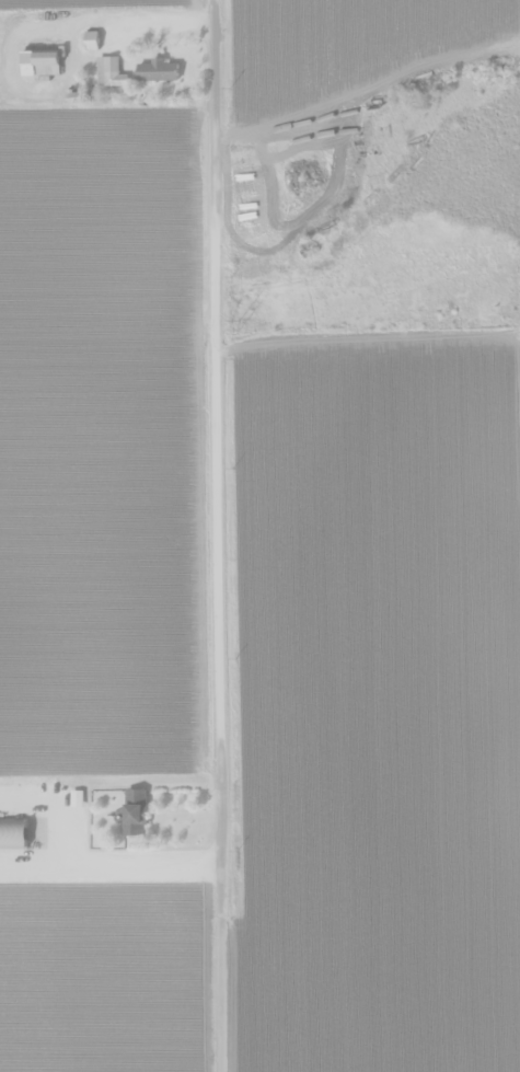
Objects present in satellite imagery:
building: (41, 62)
building: (158, 71)
building: (104, 72)
power tower: (236, 325)
road: (221, 535)
building: (135, 812)
building: (13, 833)

